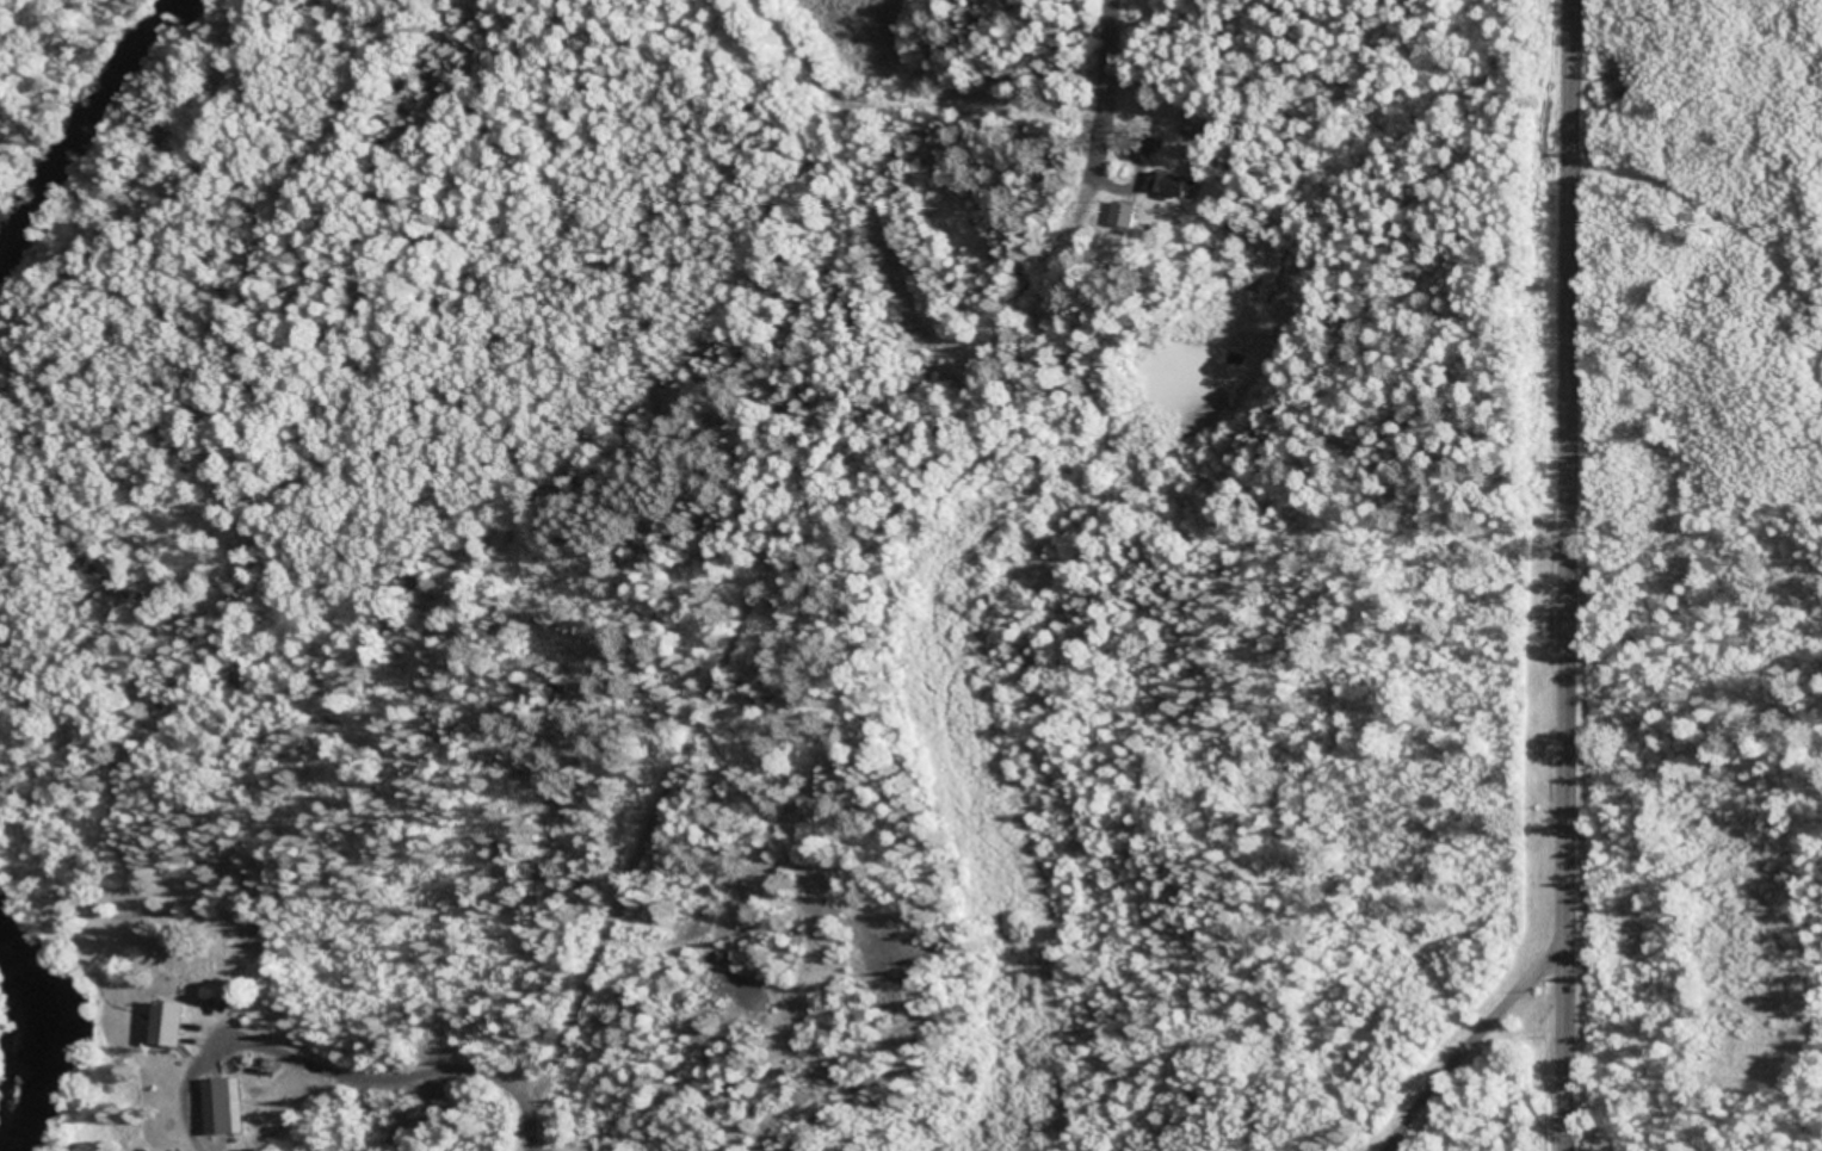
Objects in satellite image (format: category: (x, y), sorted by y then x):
road: (1119, 24)
river: (91, 125)
building: (1150, 142)
building: (1122, 212)
road: (791, 573)
road: (1561, 575)
road: (1372, 587)
road: (168, 864)
building: (175, 1019)
river: (39, 1028)
road: (1460, 1040)
building: (222, 1102)
road: (533, 1140)

